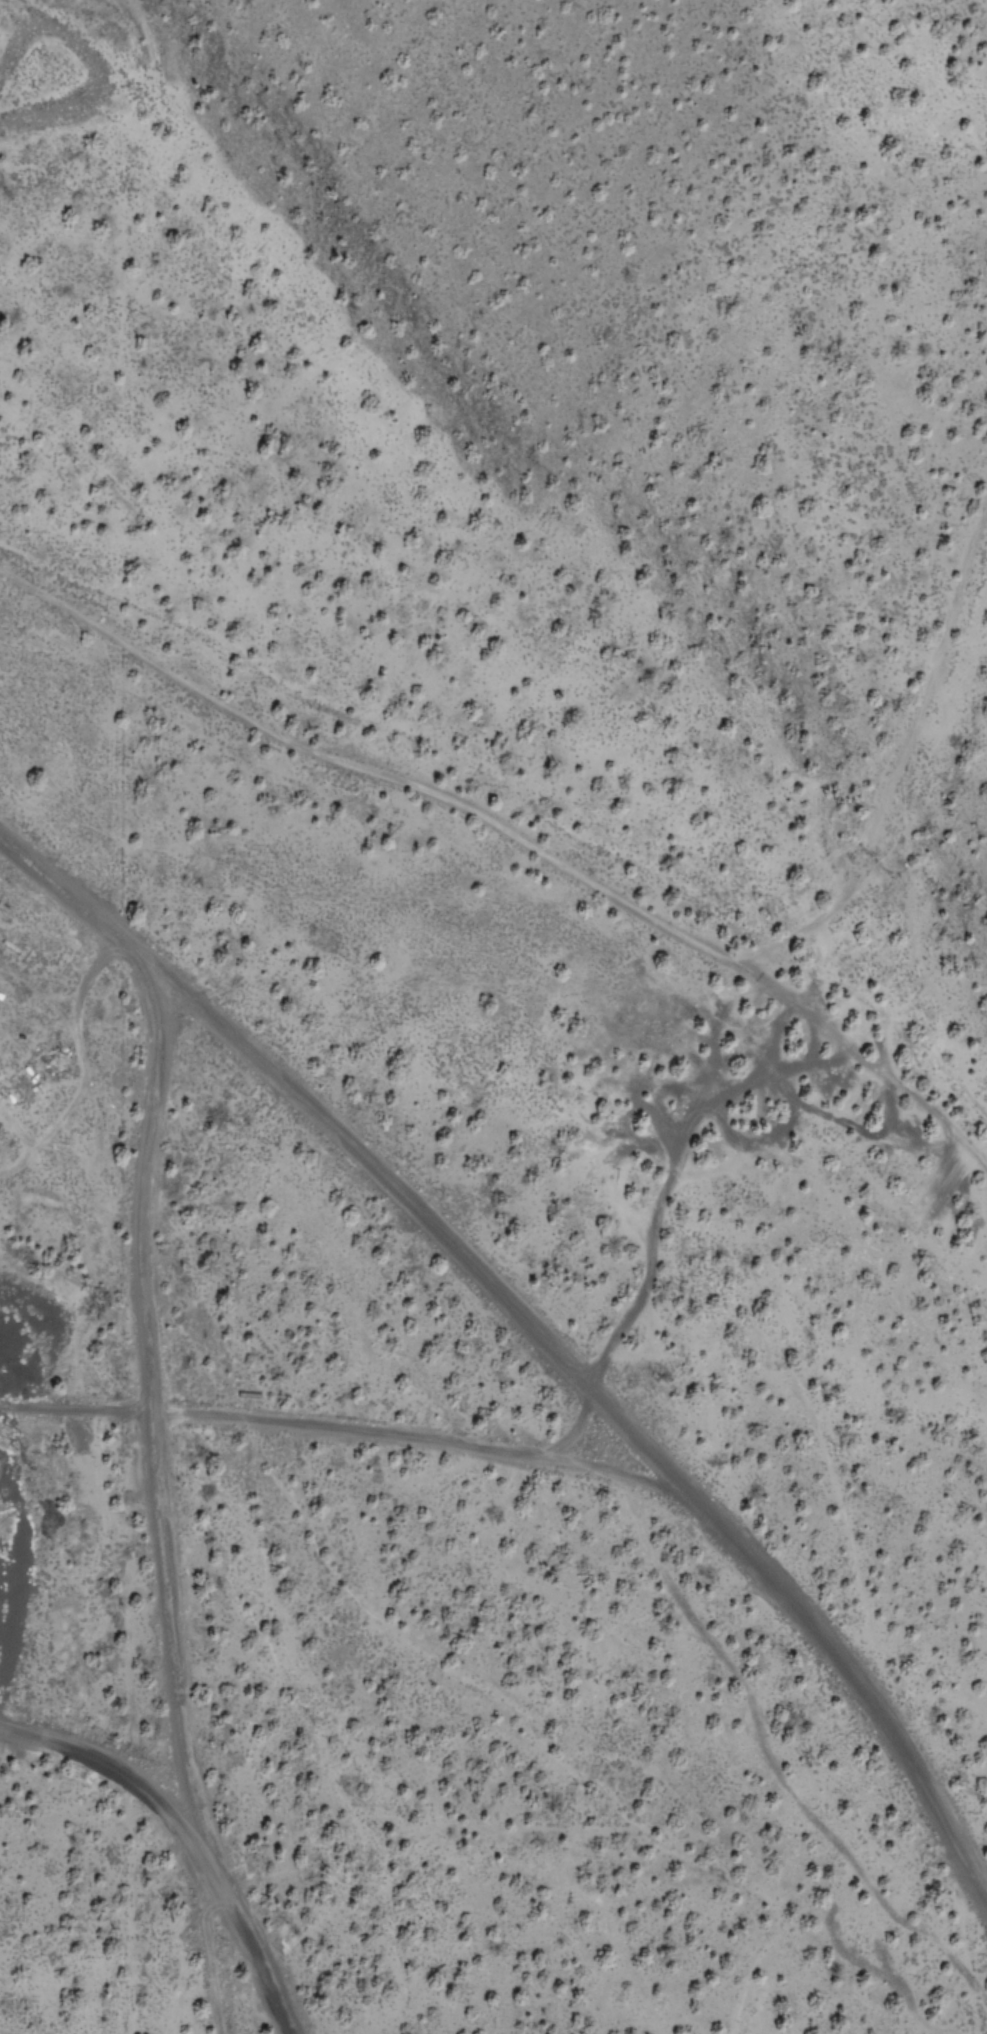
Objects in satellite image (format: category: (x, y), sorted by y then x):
road: (844, 875)
road: (534, 1342)
road: (152, 1396)
road: (328, 1434)
quarry: (4, 1457)
road: (196, 1817)

